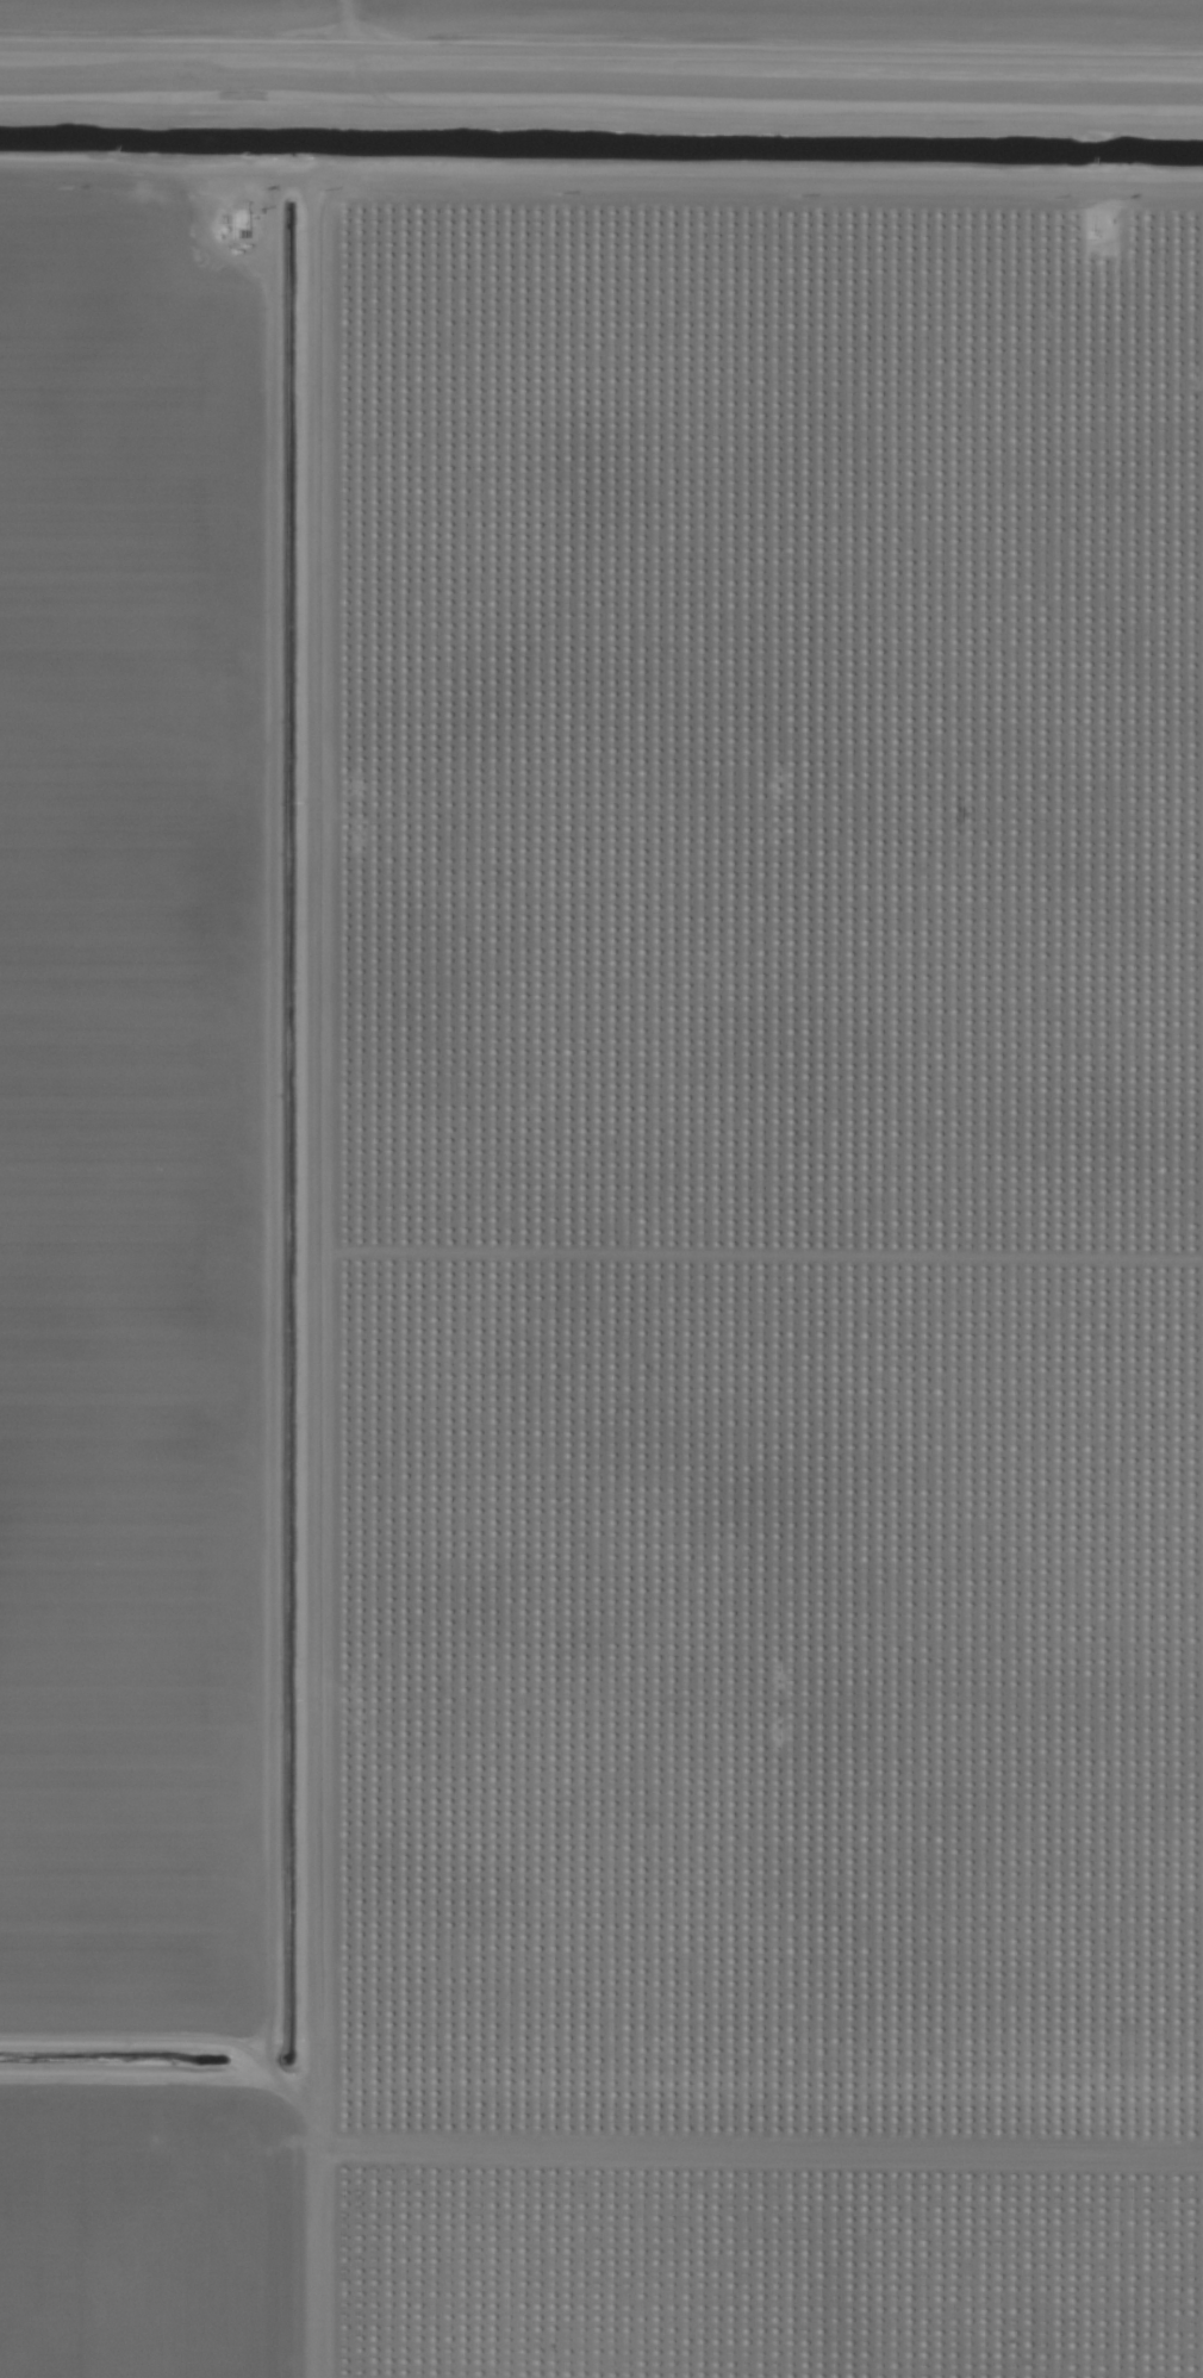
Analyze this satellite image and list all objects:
road: (306, 18)
road: (601, 39)
road: (600, 205)
crop: (601, 1189)
road: (311, 1290)

